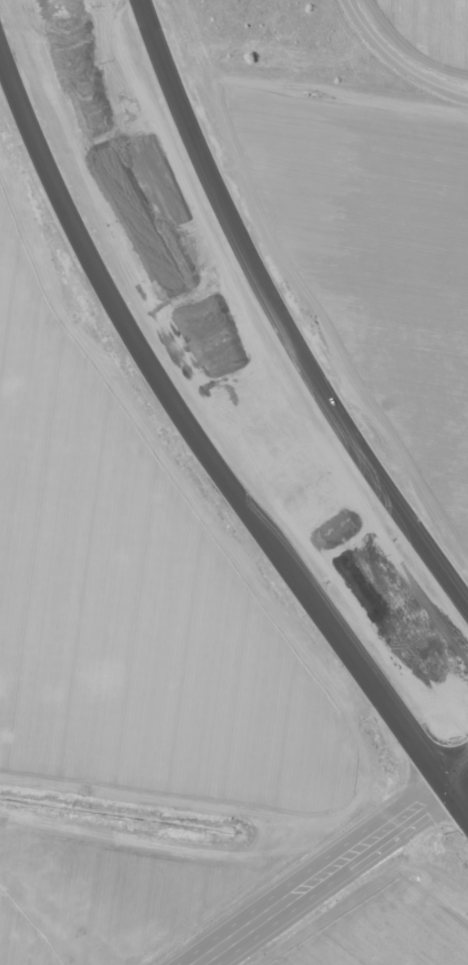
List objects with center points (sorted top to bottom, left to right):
road: (398, 61)
road: (279, 314)
road: (204, 449)
road: (334, 867)

